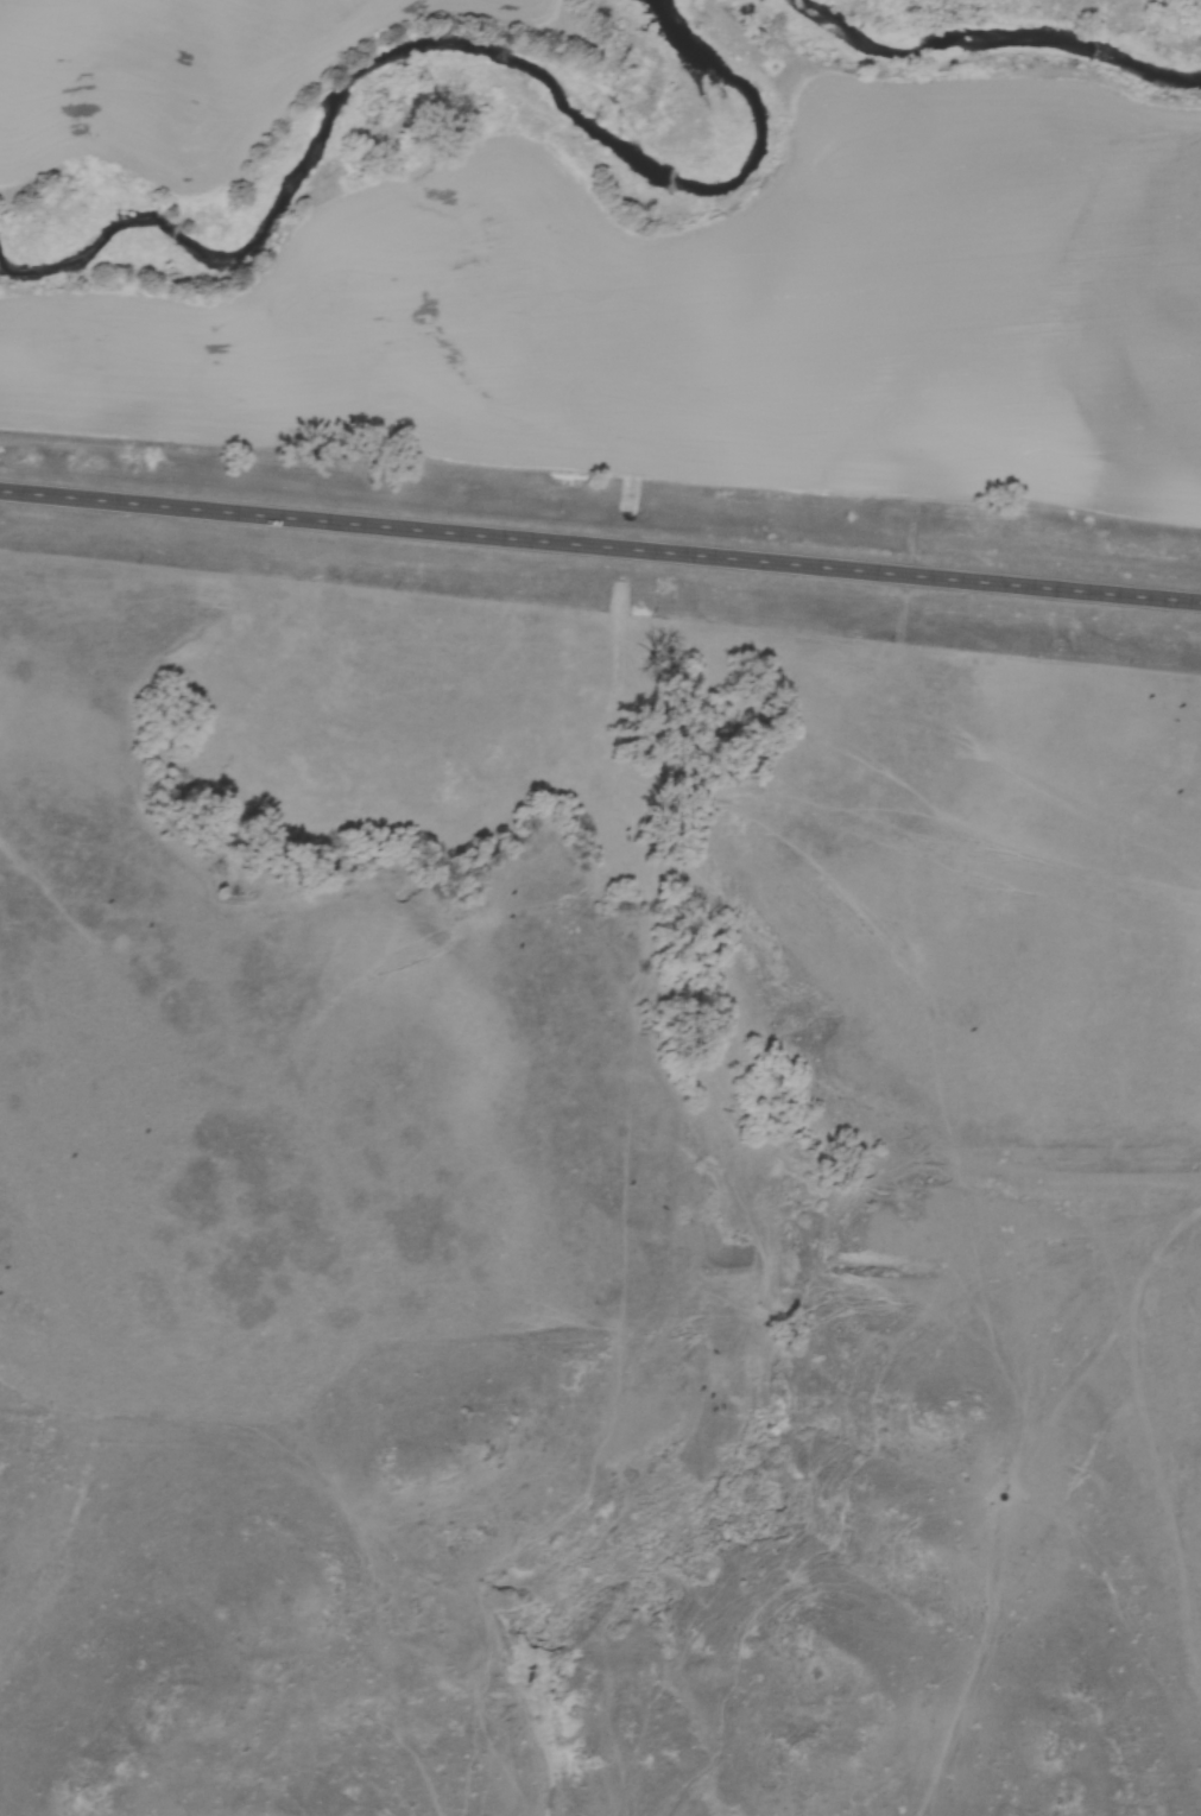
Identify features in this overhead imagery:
road: (600, 543)

